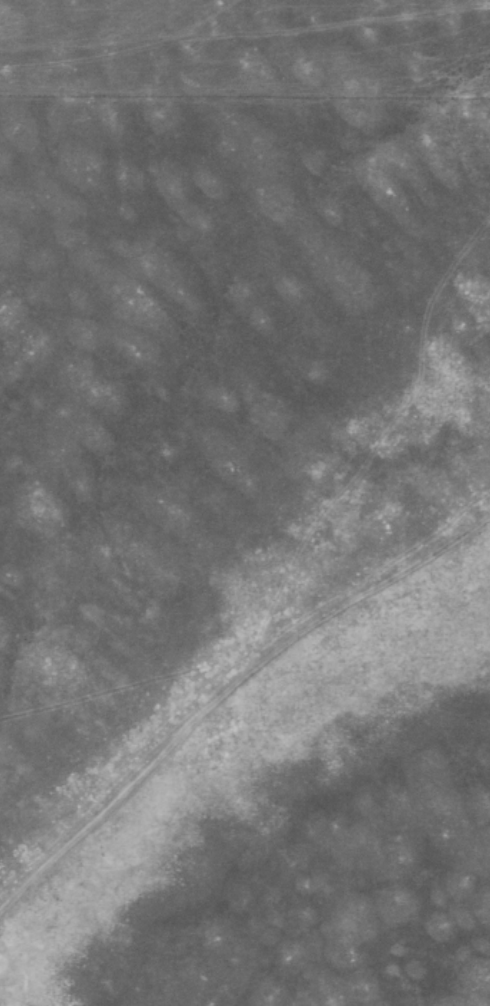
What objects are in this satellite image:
road: (226, 684)

